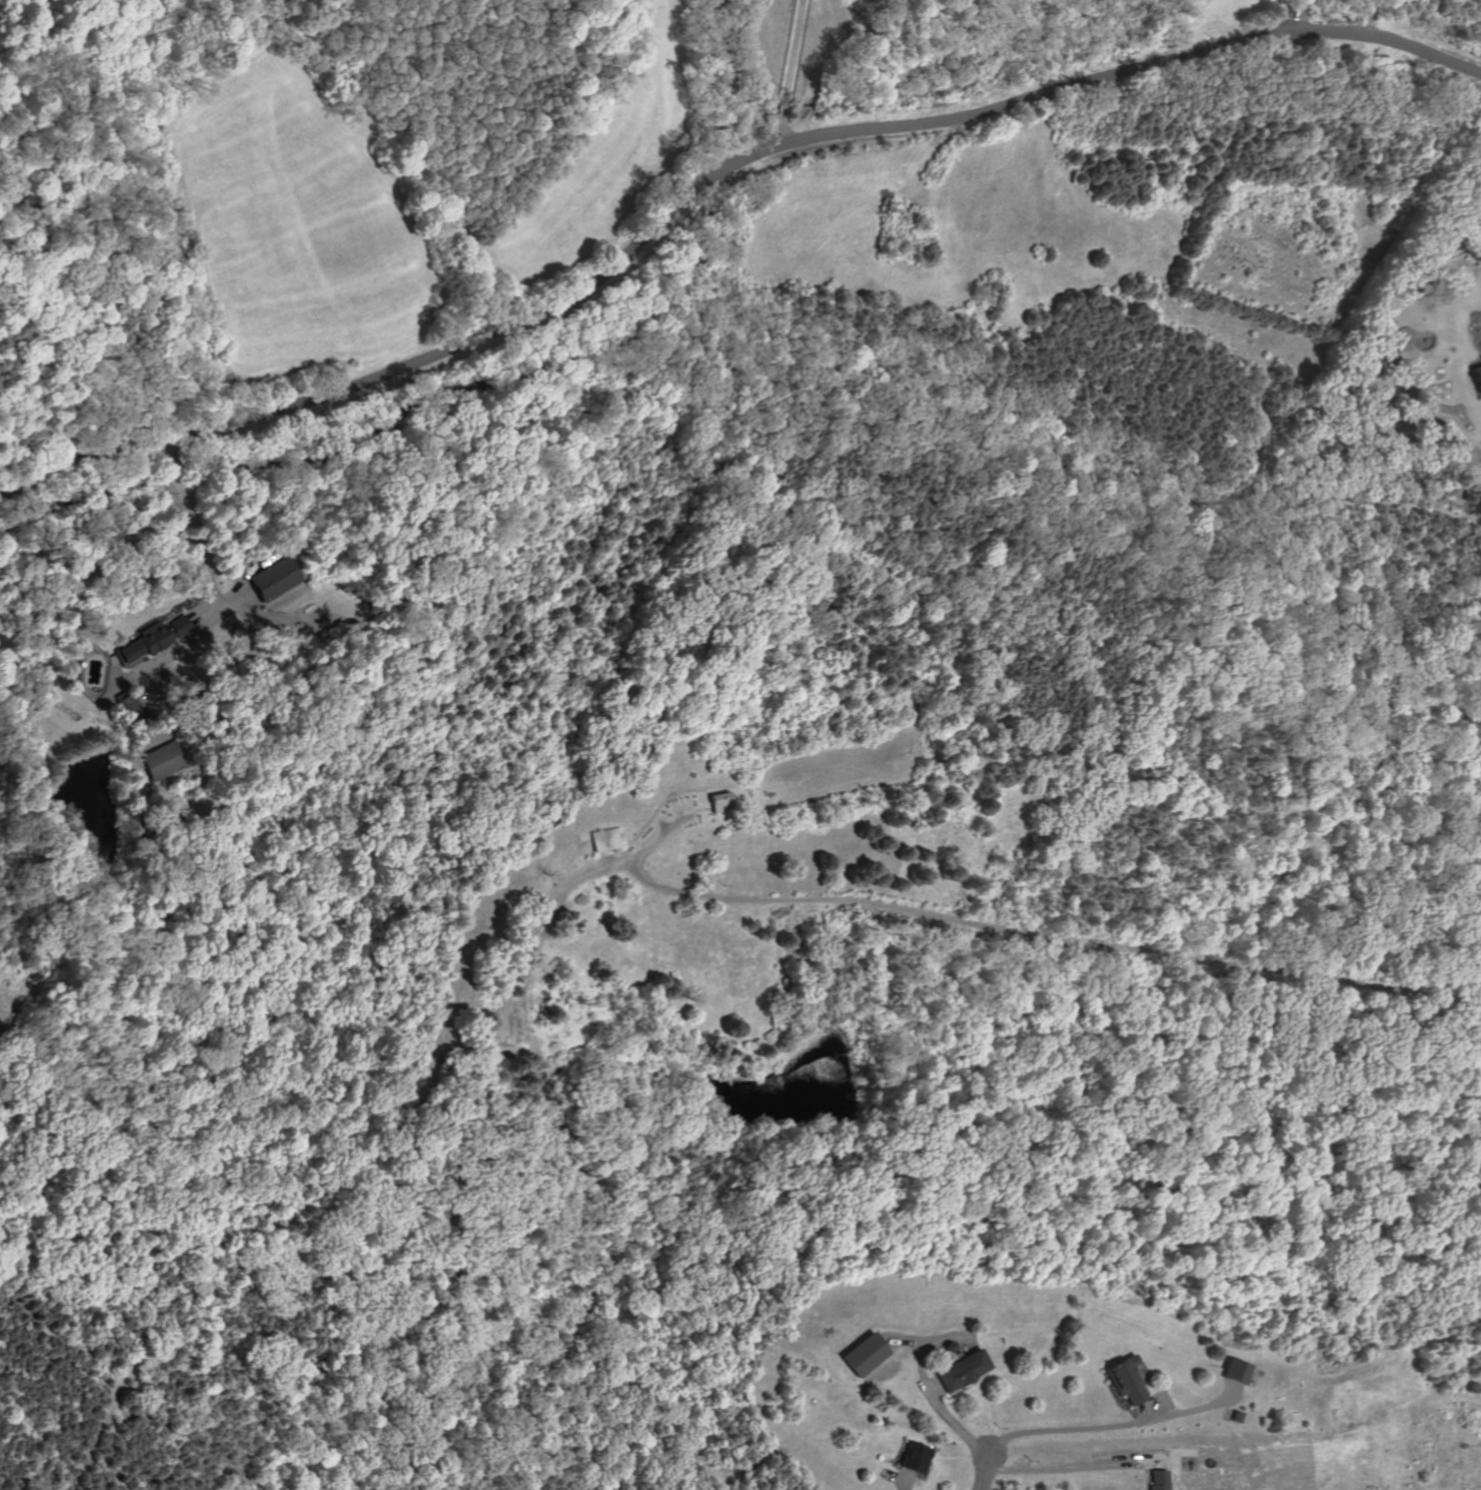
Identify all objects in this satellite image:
road: (793, 74)
road: (712, 175)
building: (1476, 378)
road: (190, 520)
building: (270, 579)
building: (175, 627)
building: (139, 644)
building: (160, 762)
building: (716, 802)
building: (602, 840)
road: (548, 905)
road: (1017, 924)
building: (505, 1034)
building: (860, 1354)
building: (959, 1371)
building: (1234, 1371)
building: (1123, 1382)
road: (1142, 1409)
road: (948, 1421)
road: (1111, 1421)
building: (912, 1457)
road: (1065, 1467)
road: (981, 1471)
road: (902, 1479)
building: (1154, 1480)

